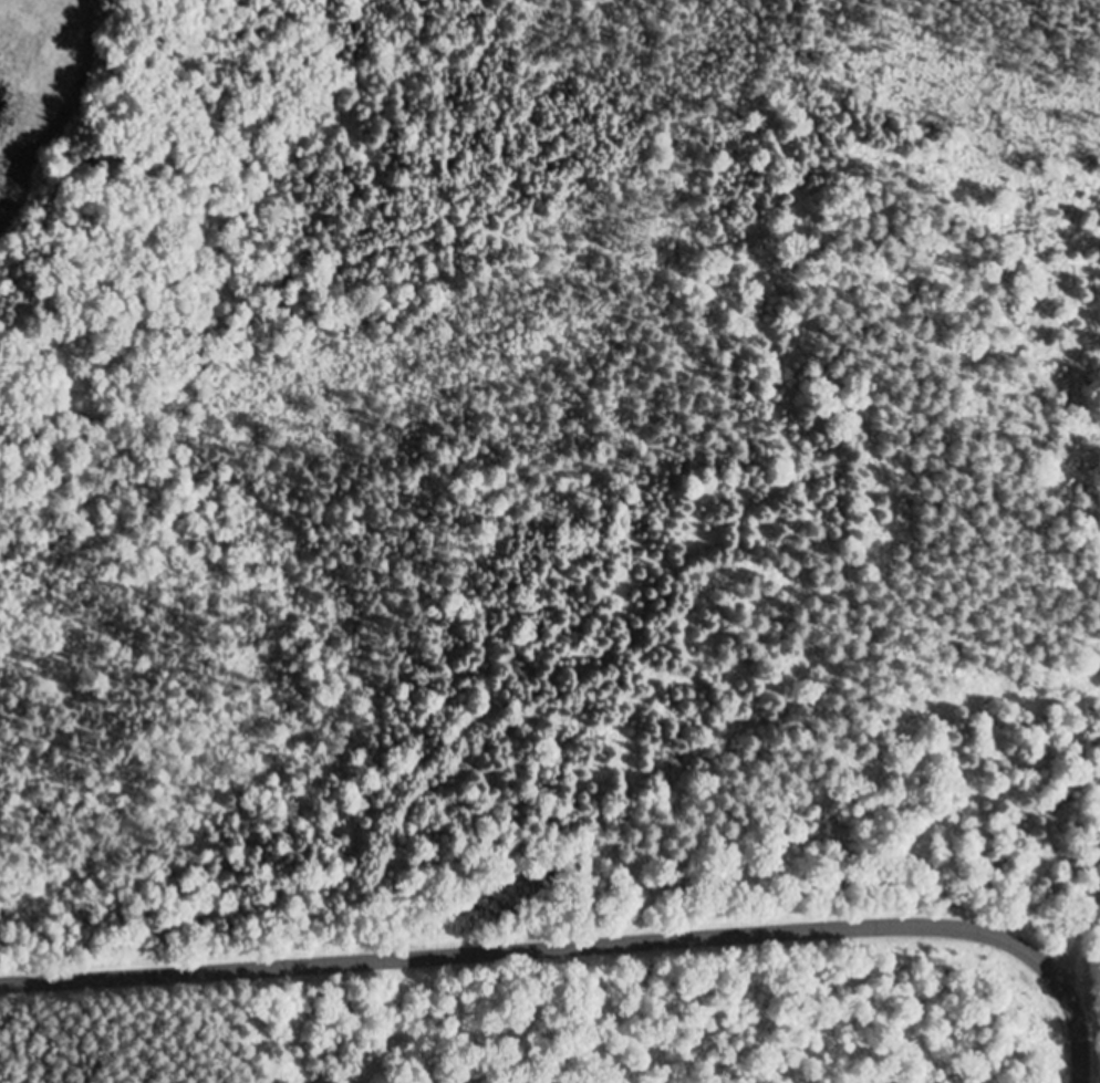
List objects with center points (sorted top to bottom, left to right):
road: (592, 946)

